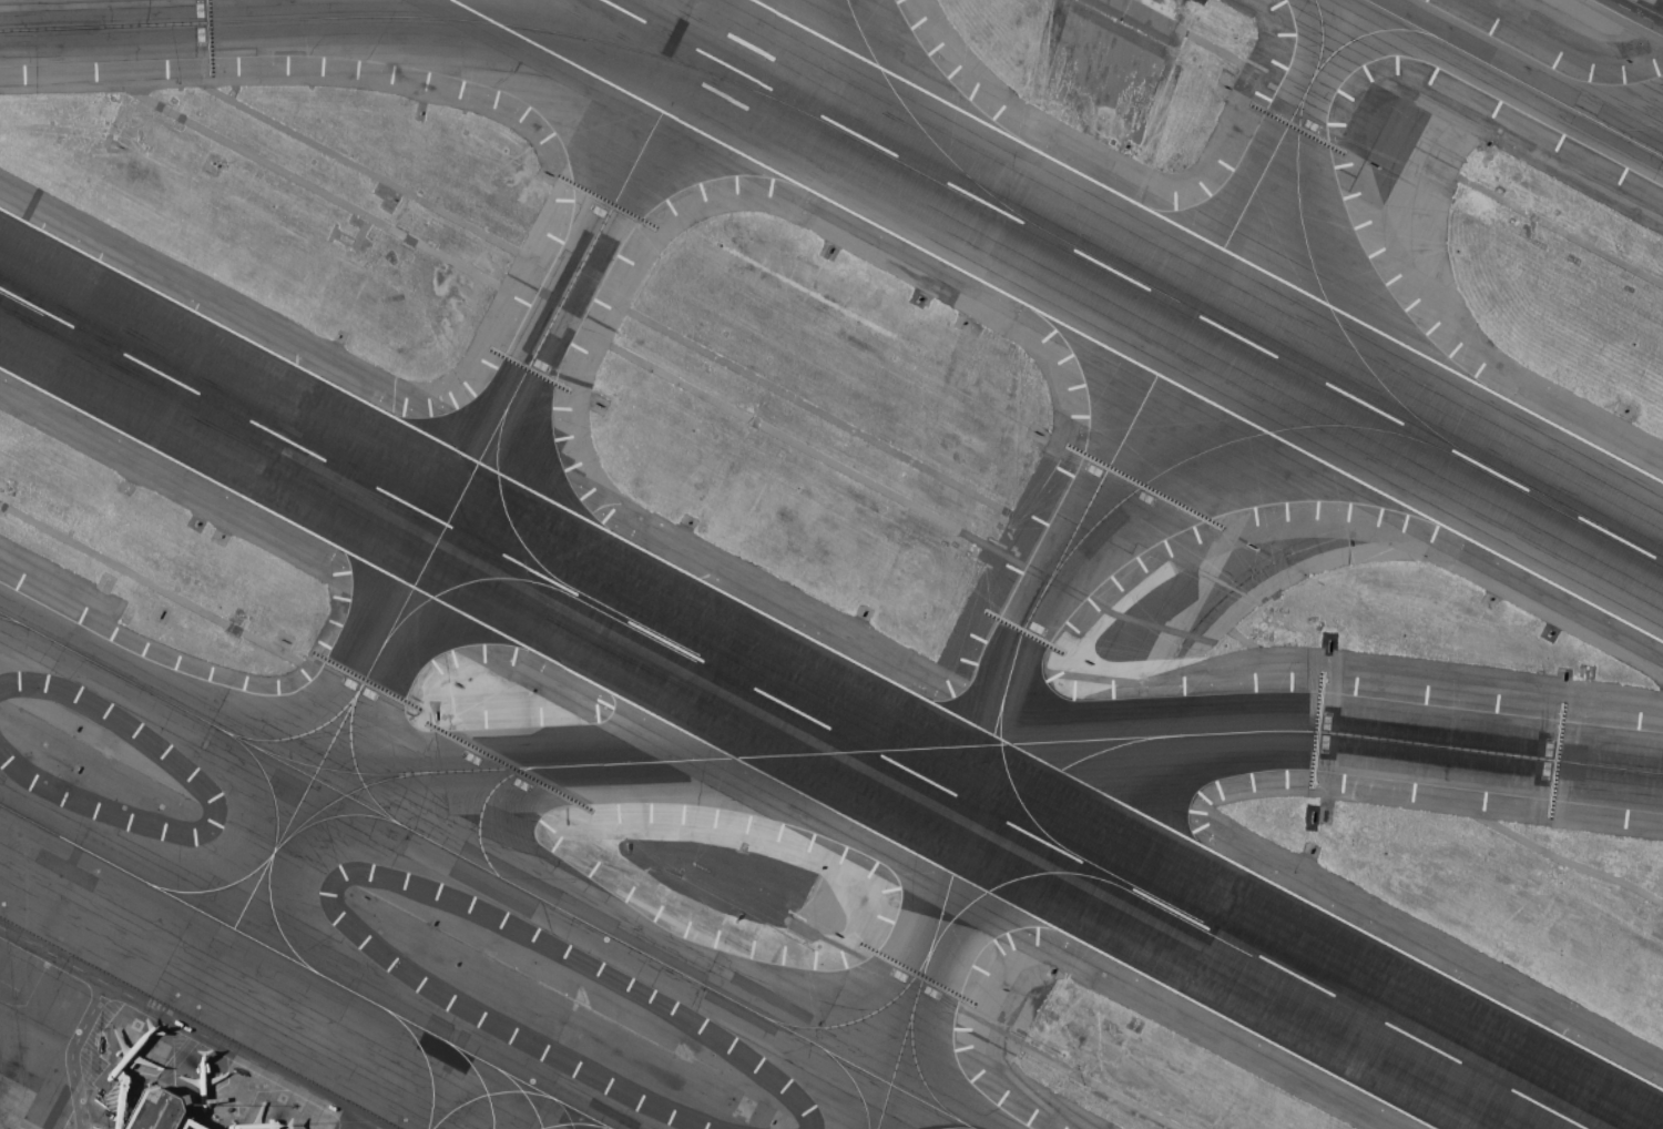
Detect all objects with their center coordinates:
road: (1630, 17)
airport taxiway: (412, 18)
airport taxiway: (1514, 78)
airport taxiway: (931, 138)
airport runway: (1131, 281)
airport taxiway: (1448, 444)
airport taxiway: (479, 465)
airport taxiway: (1077, 526)
airport: (831, 564)
airport taxiway: (467, 580)
airport taxiway: (13, 620)
airport taxiway: (350, 700)
airport runway: (793, 708)
airport taxiway: (965, 746)
airport taxiway: (1032, 784)
airport taxiway: (1014, 792)
airport taxiway: (345, 794)
airport taxiway: (481, 810)
airport taxiway: (274, 843)
airport taxiway: (274, 848)
airport taxiway: (484, 868)
airport taxiway: (937, 942)
airport taxiway: (306, 966)
road: (187, 1028)
road: (69, 1052)
airport taxiway: (426, 1060)
airport apron: (183, 1074)
airport taxiway: (478, 1079)
airport taxiway: (924, 1080)
airport taxiway: (858, 1091)
airport taxiway: (487, 1094)
airport taxiway: (523, 1096)
airport terminal: (147, 1110)
building: (147, 1110)
airport apron: (14, 1121)
road: (349, 1122)
airport taxiway: (573, 1123)

